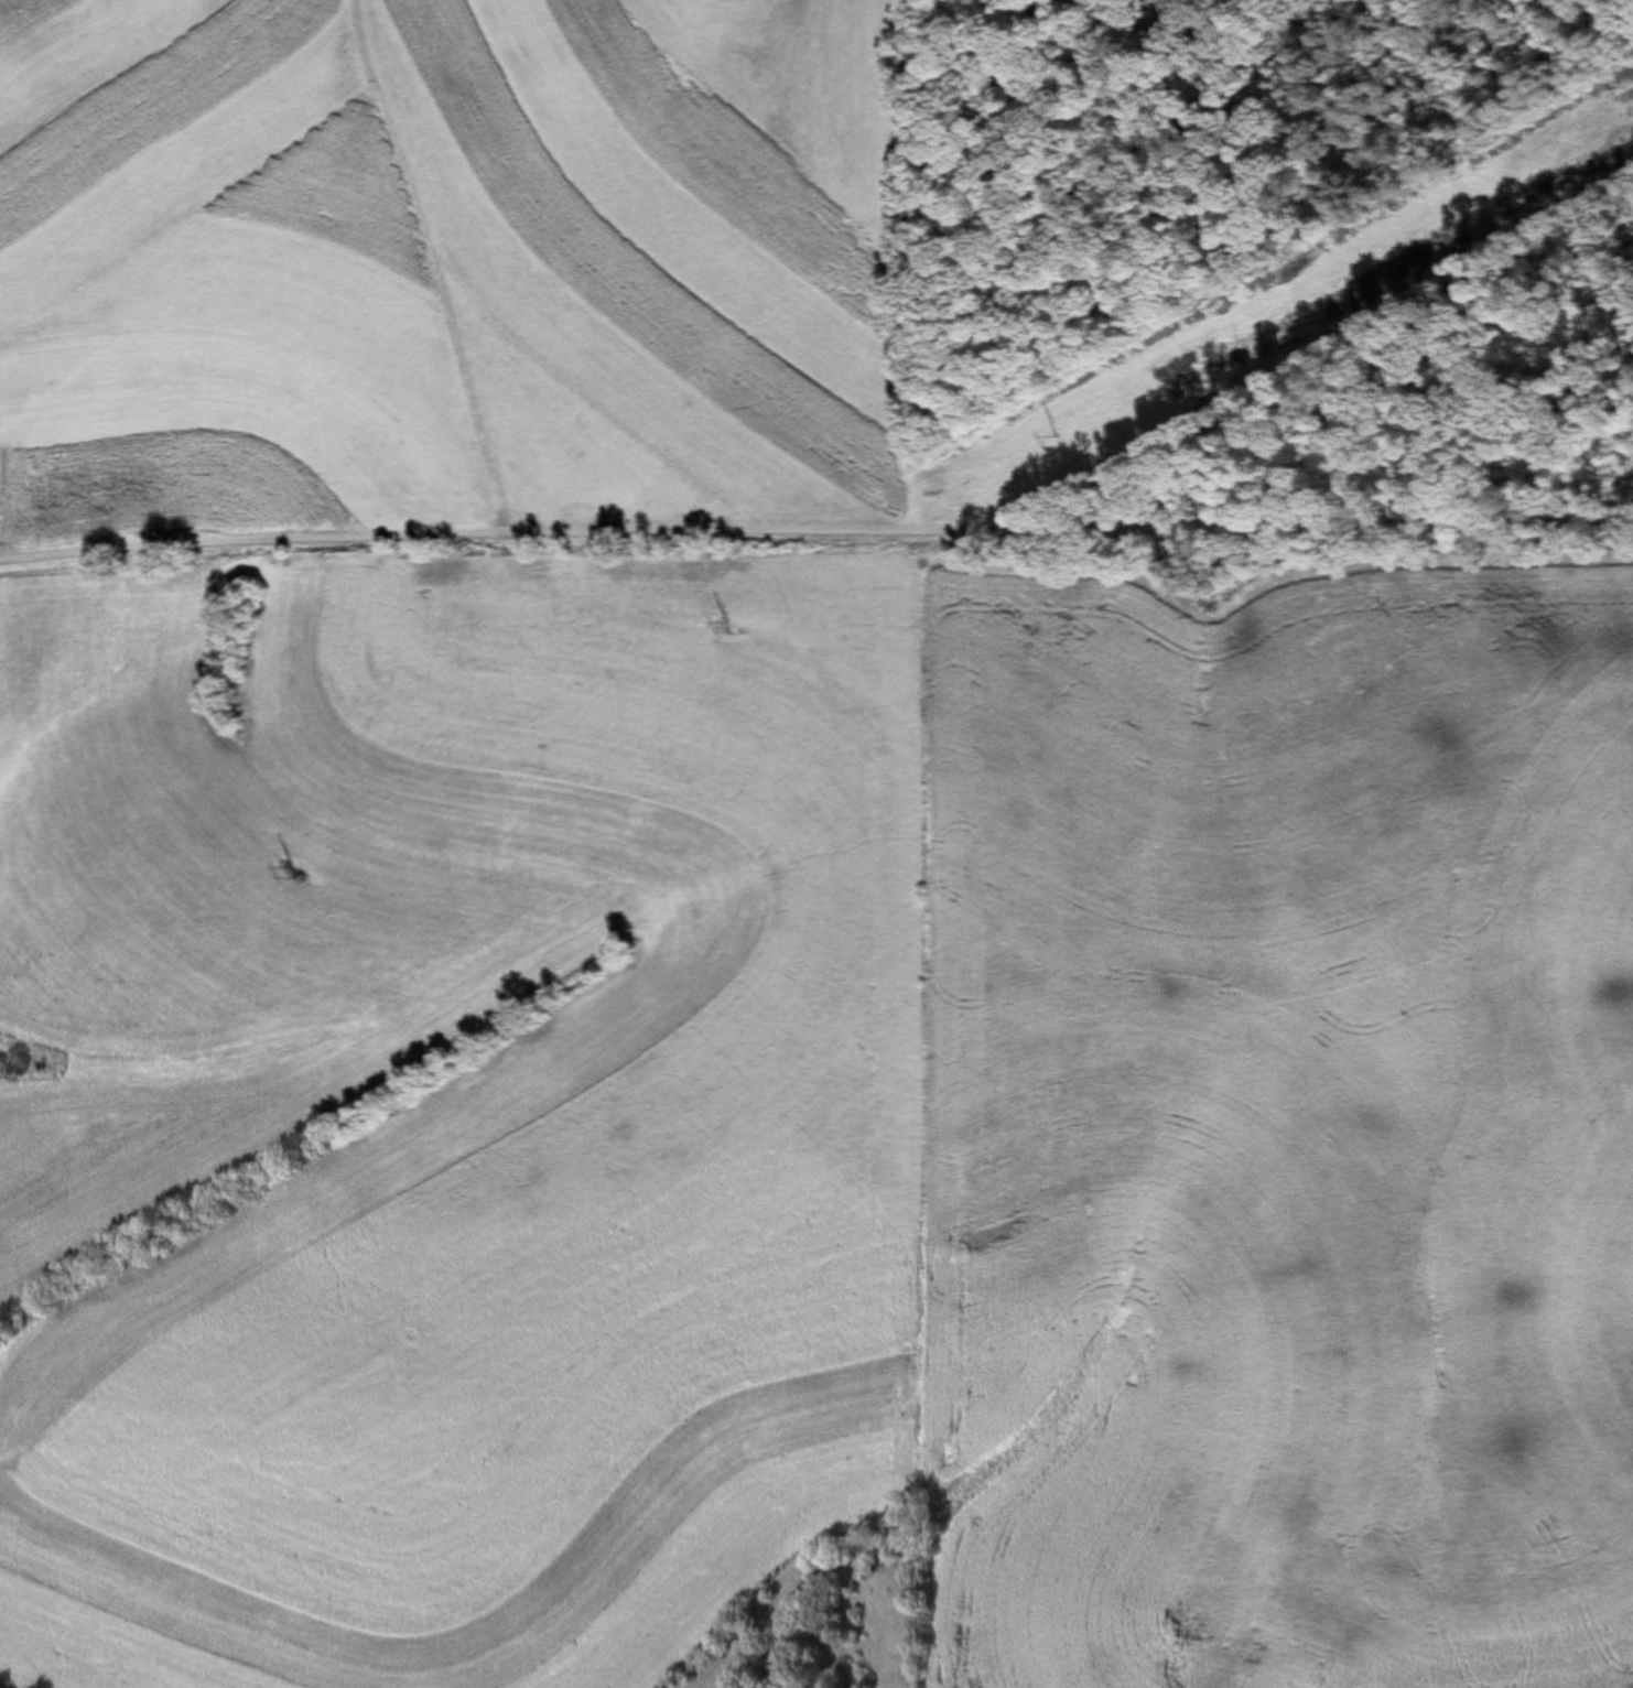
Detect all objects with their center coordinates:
power tower: (1056, 440)
road: (814, 535)
power tower: (724, 627)
power tower: (292, 870)

